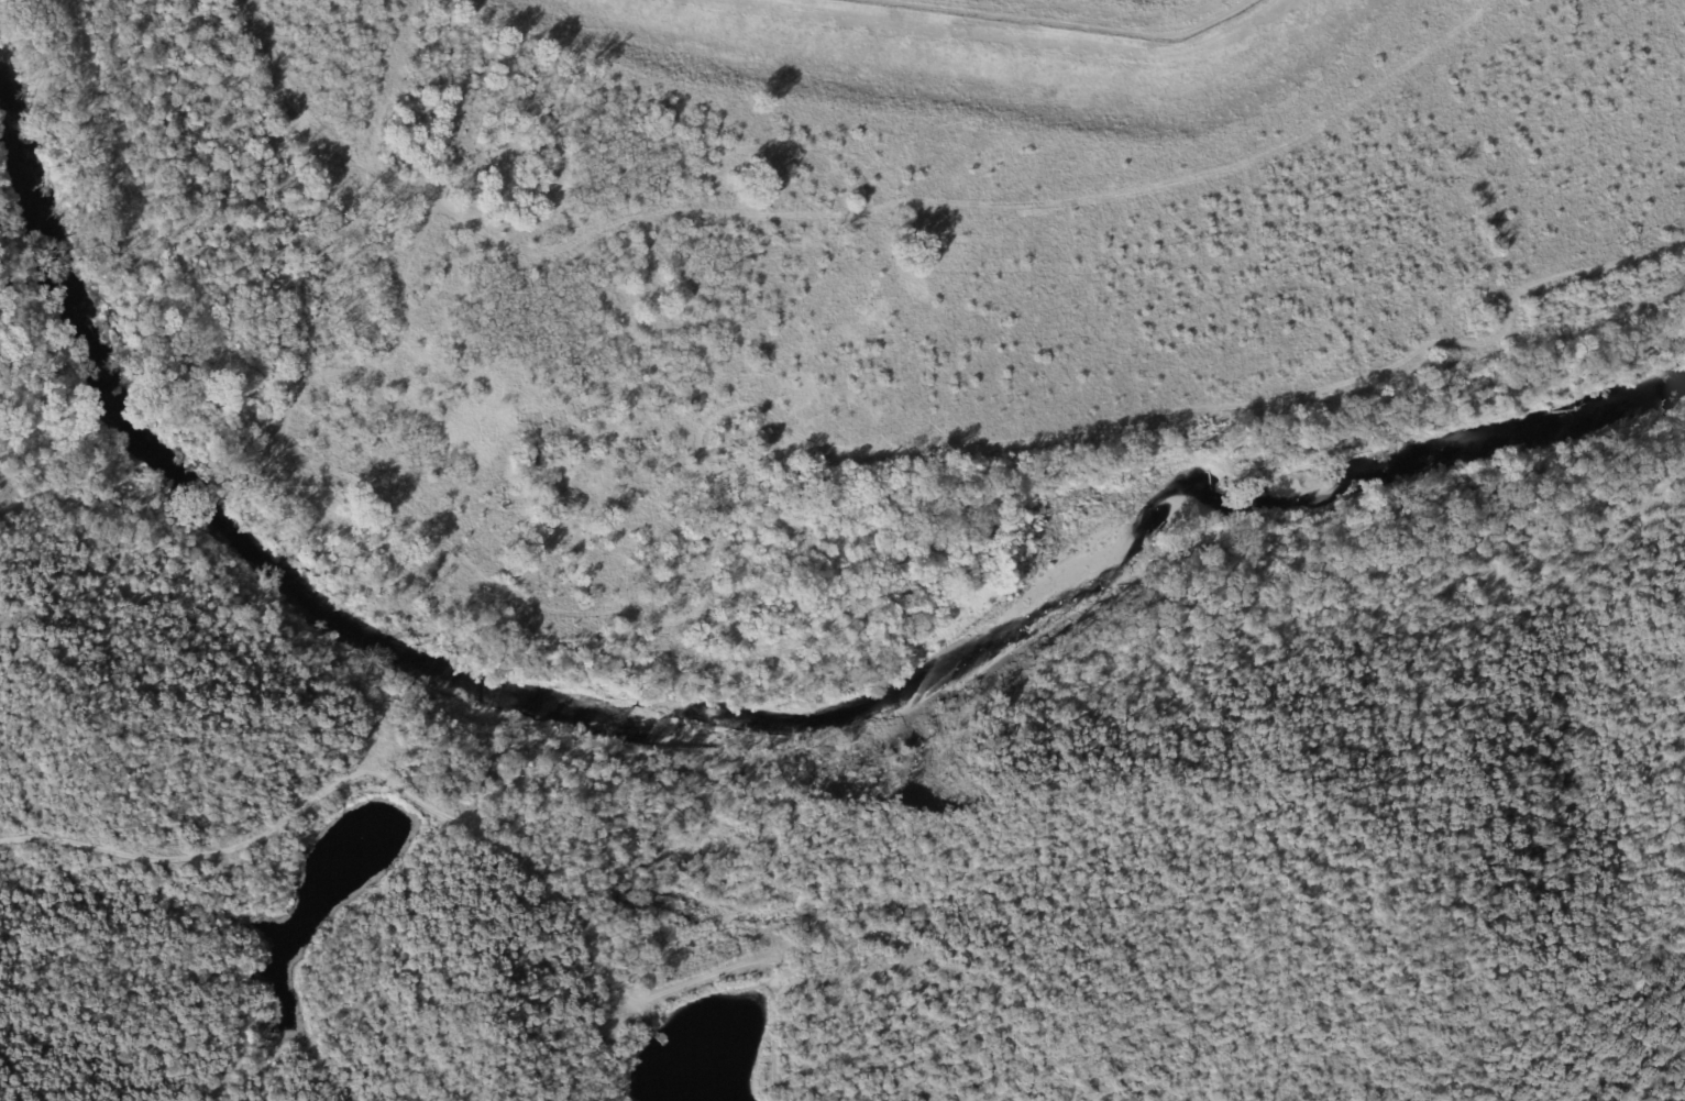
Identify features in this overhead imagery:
river: (756, 728)
park: (1366, 746)
road: (410, 797)
road: (1281, 810)
road: (398, 937)
road: (785, 1019)
road: (1133, 1090)

